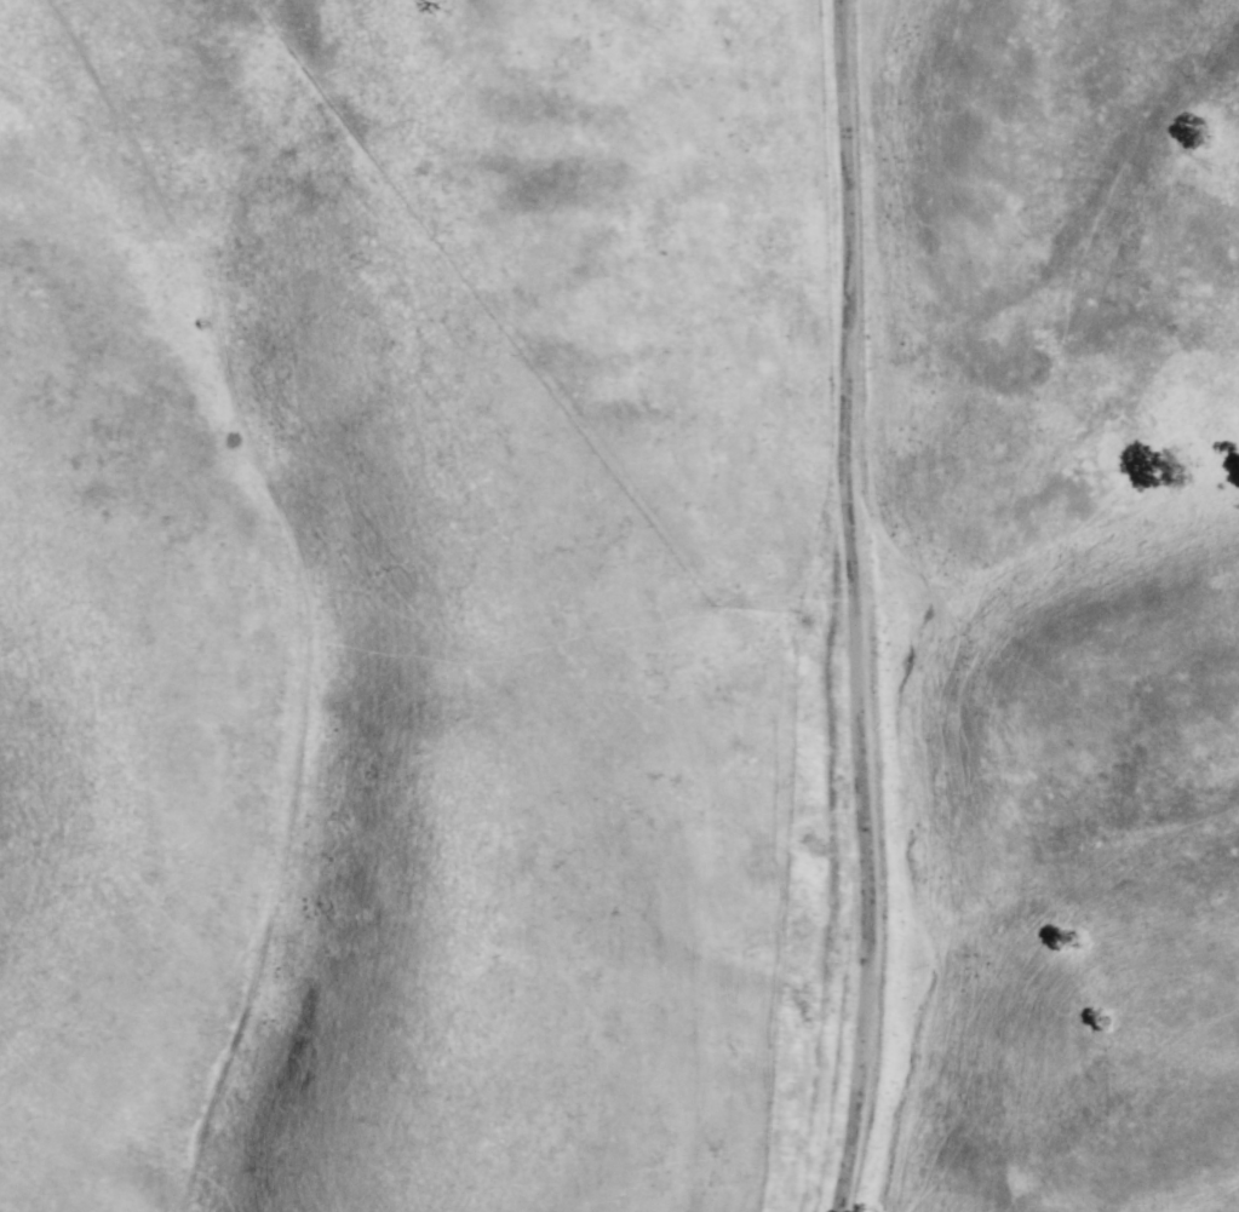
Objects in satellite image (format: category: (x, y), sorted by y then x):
road: (843, 607)

